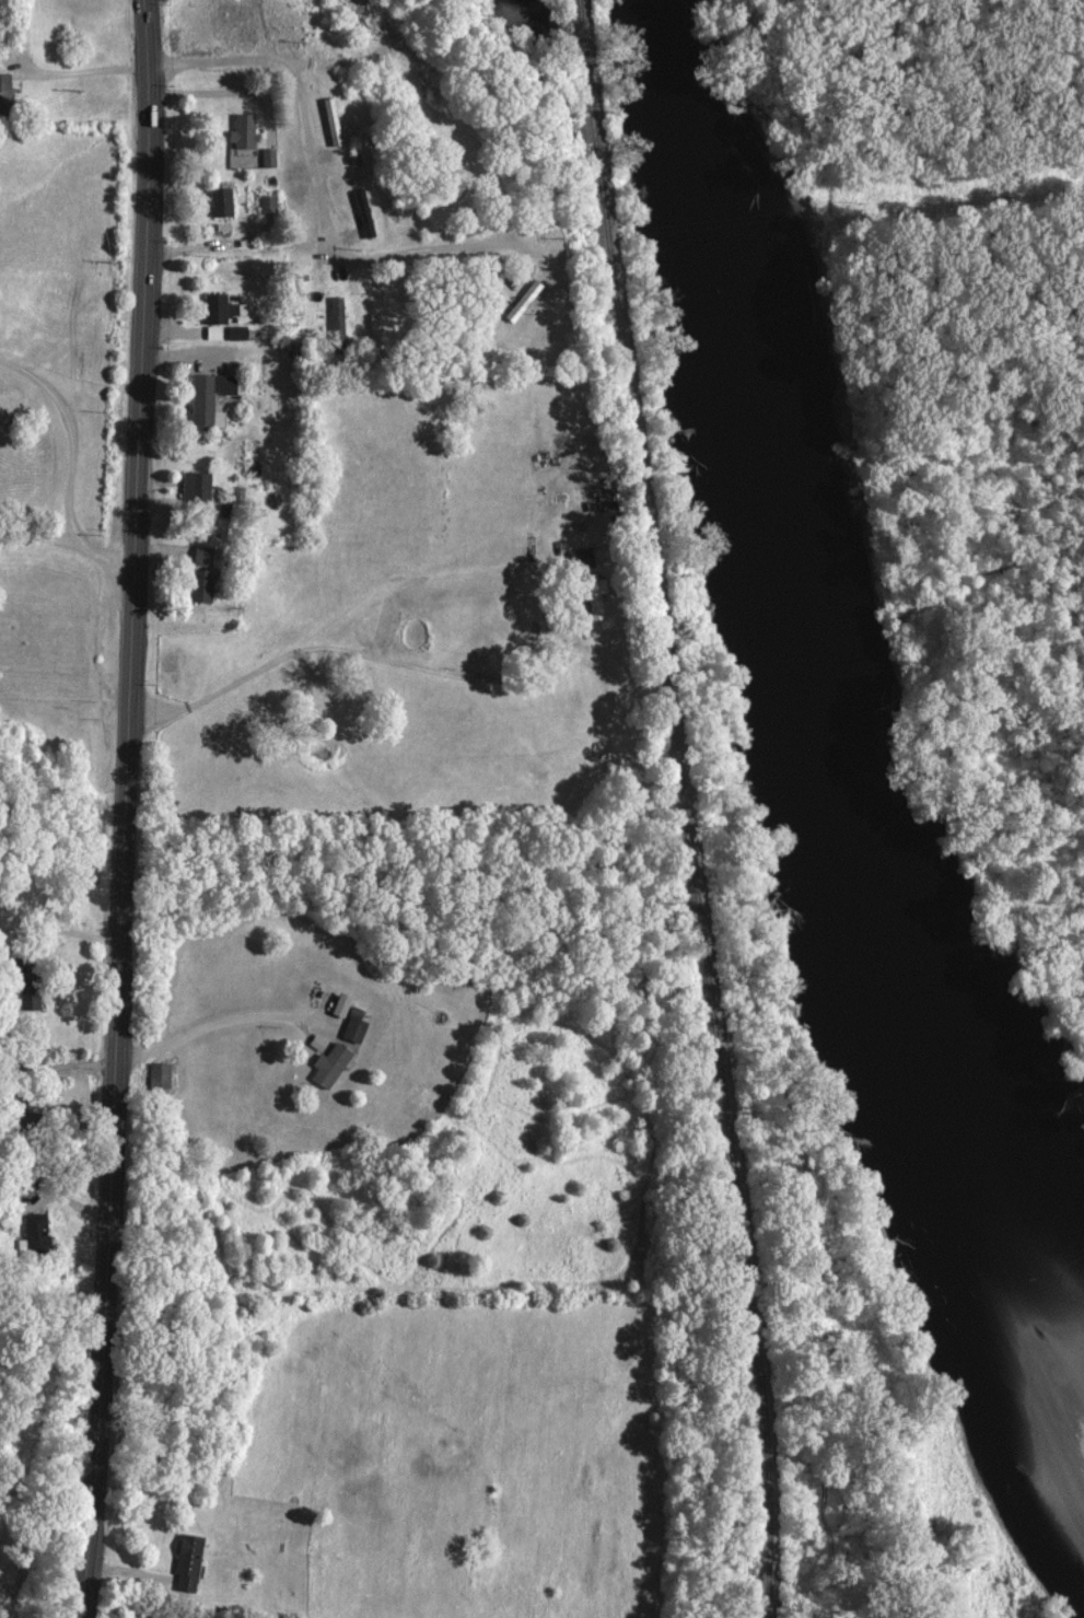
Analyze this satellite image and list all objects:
road: (85, 71)
road: (304, 82)
building: (4, 90)
building: (331, 120)
building: (244, 130)
building: (268, 155)
building: (220, 200)
building: (268, 203)
building: (363, 212)
road: (434, 251)
building: (296, 290)
building: (218, 307)
building: (337, 319)
building: (213, 330)
building: (236, 331)
road: (70, 458)
building: (196, 485)
road: (44, 536)
building: (202, 554)
building: (581, 557)
building: (200, 584)
building: (595, 594)
river: (774, 656)
road: (127, 808)
railway: (685, 808)
building: (30, 998)
road: (224, 1021)
building: (353, 1026)
building: (329, 1063)
building: (160, 1074)
building: (36, 1231)
building: (188, 1561)

